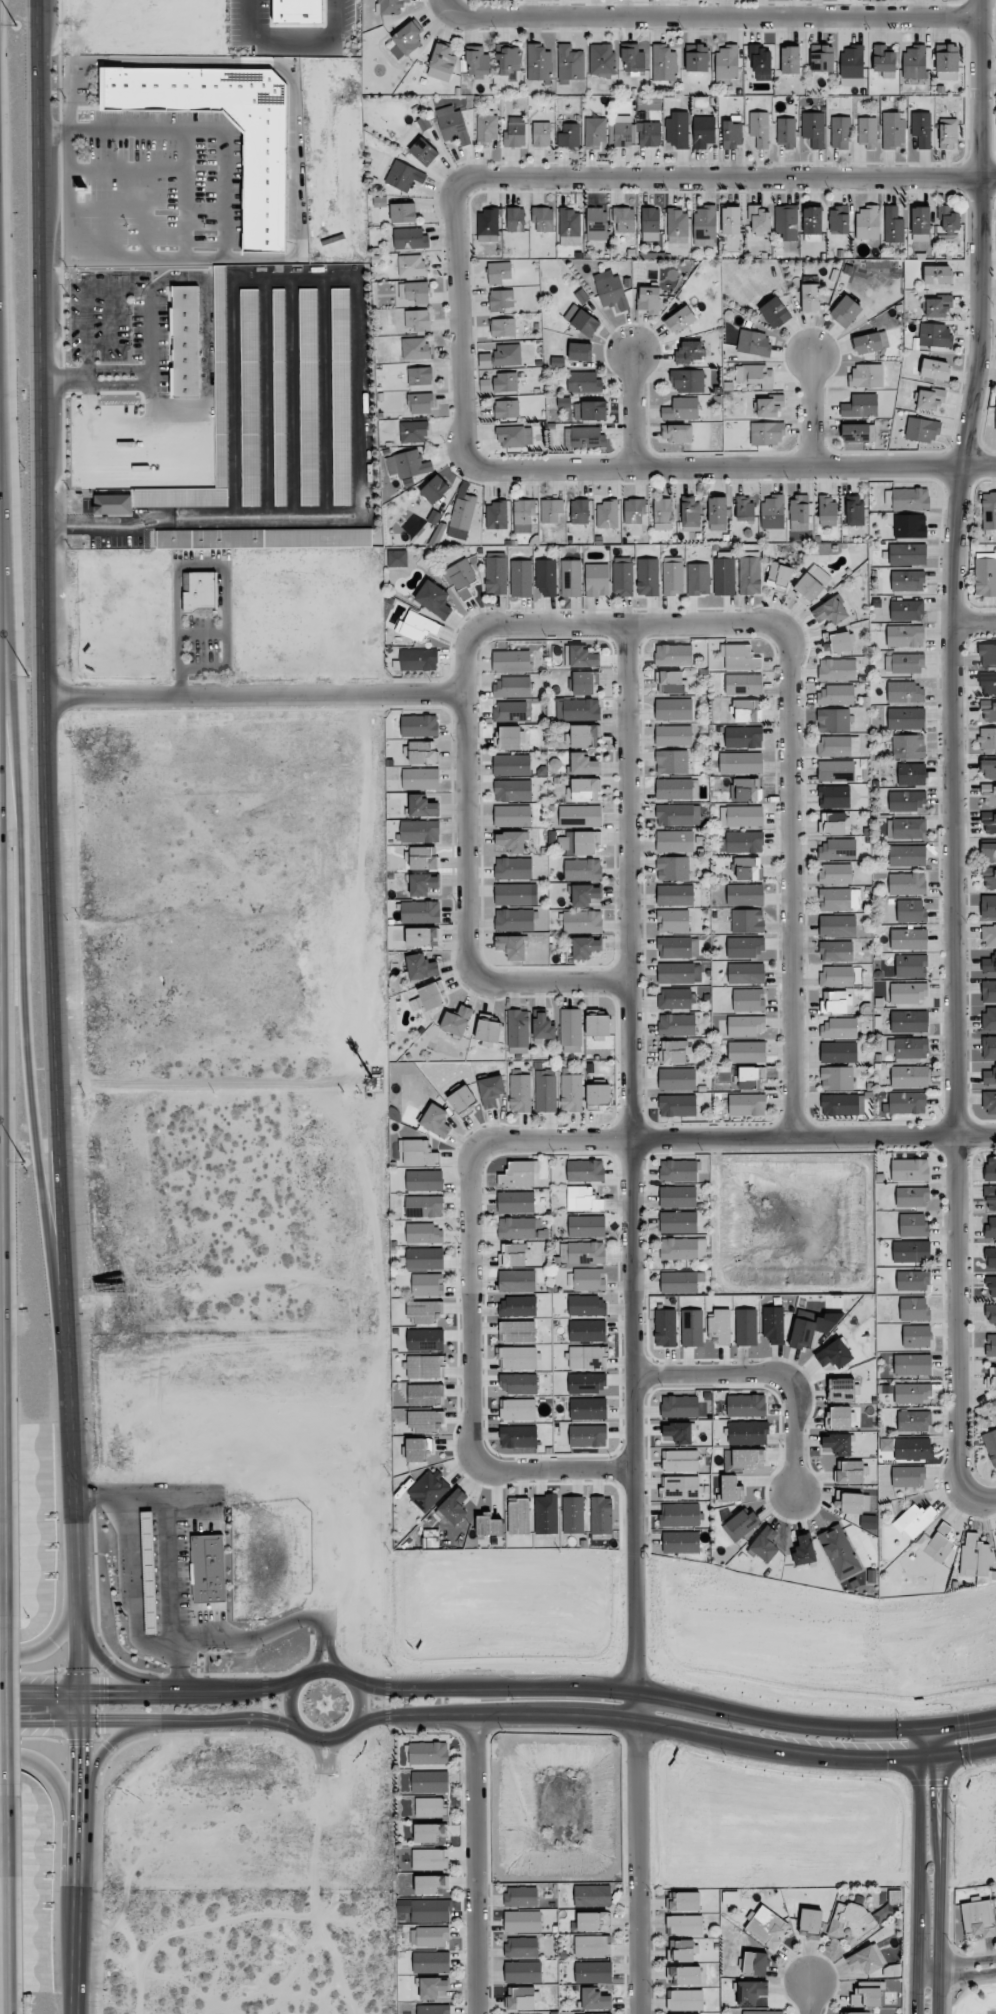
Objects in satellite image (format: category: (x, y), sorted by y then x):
road: (447, 4)
building: (390, 6)
road: (715, 16)
building: (408, 37)
building: (947, 57)
building: (443, 58)
building: (632, 58)
building: (696, 58)
building: (821, 58)
building: (601, 59)
building: (508, 60)
building: (790, 60)
building: (884, 60)
building: (914, 61)
building: (477, 62)
building: (538, 62)
building: (761, 62)
building: (569, 63)
building: (663, 63)
building: (726, 64)
building: (852, 65)
road: (285, 69)
building: (946, 75)
road: (989, 83)
building: (452, 125)
building: (487, 126)
building: (760, 129)
building: (814, 129)
building: (921, 129)
road: (198, 130)
building: (677, 130)
building: (893, 130)
building: (624, 131)
building: (515, 132)
building: (594, 132)
building: (703, 132)
building: (786, 132)
building: (840, 132)
building: (868, 132)
building: (731, 133)
building: (948, 133)
building: (541, 134)
building: (649, 134)
building: (569, 136)
building: (423, 152)
road: (129, 170)
building: (404, 176)
road: (726, 176)
building: (264, 181)
road: (187, 195)
road: (110, 211)
building: (403, 212)
road: (148, 215)
building: (515, 219)
building: (543, 219)
building: (623, 219)
building: (650, 219)
building: (839, 219)
building: (948, 219)
building: (759, 220)
building: (920, 220)
building: (731, 221)
building: (786, 222)
building: (867, 222)
building: (596, 223)
building: (488, 225)
building: (569, 225)
building: (705, 225)
building: (893, 225)
building: (677, 226)
road: (109, 235)
building: (410, 238)
building: (411, 265)
building: (499, 272)
road: (354, 274)
building: (937, 275)
building: (610, 290)
building: (415, 292)
building: (810, 297)
building: (649, 299)
building: (501, 300)
road: (87, 301)
building: (938, 306)
building: (845, 311)
building: (775, 312)
building: (418, 320)
building: (581, 320)
building: (680, 320)
building: (503, 327)
road: (122, 333)
building: (935, 335)
building: (185, 341)
building: (870, 342)
building: (753, 343)
building: (415, 348)
building: (580, 351)
building: (690, 351)
building: (502, 356)
building: (935, 369)
road: (151, 375)
building: (754, 375)
building: (220, 376)
building: (420, 376)
building: (865, 376)
road: (65, 378)
building: (687, 380)
building: (505, 382)
building: (583, 382)
road: (324, 394)
road: (266, 395)
road: (293, 395)
building: (341, 396)
building: (250, 397)
building: (279, 397)
building: (309, 397)
building: (930, 399)
building: (421, 403)
road: (207, 405)
building: (769, 405)
building: (860, 406)
building: (506, 409)
building: (681, 409)
road: (632, 411)
road: (812, 415)
building: (922, 430)
building: (413, 432)
building: (858, 432)
building: (676, 433)
building: (767, 433)
building: (514, 436)
building: (584, 437)
building: (407, 464)
road: (594, 469)
building: (435, 489)
building: (910, 498)
building: (160, 499)
building: (744, 508)
building: (551, 510)
building: (799, 510)
building: (827, 510)
building: (854, 510)
building: (580, 511)
building: (635, 511)
building: (989, 511)
building: (773, 512)
building: (607, 514)
building: (662, 514)
building: (690, 514)
building: (717, 514)
building: (461, 515)
building: (496, 515)
building: (523, 516)
road: (204, 518)
road: (109, 524)
building: (910, 526)
building: (264, 538)
building: (907, 554)
building: (397, 558)
building: (496, 573)
building: (749, 573)
building: (460, 574)
building: (622, 576)
building: (672, 576)
building: (724, 576)
building: (778, 576)
building: (647, 577)
building: (985, 577)
building: (521, 578)
building: (546, 578)
building: (571, 578)
building: (698, 579)
building: (597, 580)
building: (907, 581)
building: (812, 582)
building: (200, 591)
building: (434, 599)
building: (906, 610)
building: (829, 611)
building: (417, 627)
road: (978, 627)
building: (905, 636)
building: (838, 642)
building: (673, 654)
building: (987, 655)
building: (580, 657)
building: (739, 657)
building: (418, 659)
building: (511, 661)
building: (904, 663)
building: (837, 669)
building: (584, 682)
building: (671, 682)
building: (743, 684)
building: (987, 684)
building: (512, 687)
building: (904, 692)
building: (836, 695)
road: (255, 697)
building: (577, 708)
building: (674, 709)
building: (510, 710)
building: (744, 710)
building: (987, 711)
road: (45, 714)
building: (906, 718)
building: (833, 720)
road: (792, 723)
building: (419, 725)
building: (673, 735)
building: (743, 737)
building: (509, 738)
building: (987, 738)
building: (839, 746)
building: (908, 746)
building: (422, 752)
road: (960, 760)
building: (672, 761)
building: (740, 763)
building: (583, 764)
building: (512, 765)
building: (989, 769)
building: (836, 770)
building: (911, 774)
building: (420, 778)
building: (585, 789)
building: (677, 789)
building: (745, 789)
building: (513, 790)
building: (989, 794)
building: (833, 797)
building: (907, 801)
building: (421, 806)
building: (512, 815)
building: (678, 815)
building: (580, 816)
building: (741, 816)
building: (832, 823)
building: (989, 823)
building: (908, 828)
building: (420, 831)
building: (512, 841)
building: (675, 841)
building: (579, 842)
building: (744, 842)
building: (837, 849)
building: (989, 851)
building: (907, 855)
building: (513, 868)
building: (672, 868)
building: (583, 869)
building: (835, 873)
building: (989, 878)
road: (466, 881)
building: (907, 883)
building: (424, 884)
building: (515, 894)
building: (745, 894)
building: (586, 895)
building: (675, 895)
building: (840, 899)
building: (988, 906)
building: (420, 910)
building: (910, 911)
building: (514, 920)
building: (582, 921)
building: (673, 921)
building: (747, 921)
building: (837, 925)
building: (989, 935)
building: (422, 937)
building: (908, 939)
building: (511, 947)
building: (585, 947)
building: (677, 947)
building: (745, 947)
building: (836, 951)
road: (627, 956)
building: (989, 964)
building: (911, 965)
building: (421, 966)
building: (676, 973)
building: (746, 973)
building: (836, 976)
building: (988, 991)
road: (27, 993)
building: (907, 993)
building: (428, 997)
building: (675, 998)
building: (749, 1000)
building: (835, 1001)
building: (988, 1019)
building: (457, 1021)
building: (909, 1021)
building: (676, 1024)
building: (542, 1026)
building: (598, 1026)
building: (745, 1026)
building: (570, 1027)
building: (518, 1028)
building: (838, 1028)
building: (488, 1031)
building: (989, 1047)
building: (908, 1048)
building: (746, 1051)
building: (673, 1052)
building: (838, 1052)
building: (909, 1076)
building: (989, 1076)
building: (677, 1078)
building: (751, 1078)
building: (837, 1078)
building: (545, 1090)
building: (491, 1091)
building: (571, 1091)
building: (520, 1093)
building: (598, 1094)
building: (462, 1099)
building: (990, 1102)
building: (905, 1103)
building: (677, 1105)
building: (746, 1105)
building: (843, 1105)
building: (436, 1121)
road: (660, 1139)
building: (418, 1152)
building: (990, 1168)
building: (585, 1170)
building: (678, 1170)
building: (910, 1170)
building: (519, 1174)
building: (424, 1180)
building: (677, 1196)
building: (911, 1197)
building: (990, 1198)
building: (583, 1199)
building: (516, 1202)
building: (424, 1206)
building: (678, 1222)
building: (913, 1225)
building: (586, 1226)
building: (520, 1228)
building: (991, 1228)
building: (424, 1233)
building: (683, 1249)
building: (911, 1251)
building: (581, 1253)
building: (513, 1255)
building: (424, 1258)
building: (990, 1258)
building: (589, 1279)
building: (912, 1280)
building: (517, 1281)
building: (680, 1282)
building: (427, 1284)
building: (992, 1286)
building: (517, 1306)
building: (914, 1309)
building: (425, 1311)
building: (991, 1313)
road: (3, 1318)
building: (773, 1324)
building: (720, 1326)
building: (665, 1327)
building: (746, 1327)
building: (691, 1328)
building: (518, 1331)
building: (587, 1331)
building: (802, 1334)
building: (916, 1336)
building: (425, 1339)
building: (990, 1345)
building: (586, 1357)
building: (518, 1358)
building: (912, 1364)
building: (426, 1367)
road: (769, 1371)
building: (991, 1377)
road: (632, 1379)
building: (519, 1383)
building: (587, 1383)
building: (841, 1390)
building: (912, 1393)
building: (425, 1394)
building: (746, 1405)
building: (680, 1406)
building: (518, 1409)
building: (588, 1409)
building: (838, 1418)
building: (426, 1420)
building: (914, 1421)
building: (747, 1432)
building: (677, 1433)
building: (588, 1435)
building: (518, 1436)
building: (837, 1444)
building: (990, 1445)
building: (908, 1448)
building: (417, 1449)
building: (749, 1458)
building: (680, 1461)
road: (582, 1468)
building: (851, 1472)
building: (908, 1476)
building: (680, 1488)
building: (429, 1489)
building: (731, 1489)
building: (852, 1503)
building: (455, 1507)
building: (546, 1514)
building: (679, 1514)
building: (572, 1515)
building: (601, 1515)
building: (518, 1516)
building: (915, 1520)
building: (488, 1524)
building: (741, 1524)
building: (995, 1532)
building: (681, 1542)
building: (939, 1543)
building: (764, 1544)
building: (803, 1549)
building: (839, 1552)
road: (167, 1553)
building: (977, 1559)
building: (208, 1568)
building: (149, 1572)
road: (133, 1588)
road: (274, 1627)
road: (57, 1640)
road: (326, 1667)
road: (106, 1668)
traffic signals: (109, 1694)
road: (149, 1694)
road: (676, 1701)
road: (290, 1707)
road: (7, 1708)
road: (360, 1709)
road: (152, 1719)
traffic signals: (43, 1720)
road: (82, 1721)
road: (670, 1728)
road: (115, 1738)
road: (324, 1738)
traffic signals: (82, 1749)
building: (428, 1753)
road: (51, 1778)
building: (430, 1782)
building: (430, 1807)
building: (430, 1833)
road: (639, 1853)
building: (430, 1859)
road: (475, 1863)
road: (939, 1871)
road: (919, 1872)
building: (431, 1884)
building: (592, 1895)
building: (521, 1896)
building: (685, 1902)
road: (10, 1905)
building: (426, 1910)
building: (978, 1918)
building: (522, 1921)
building: (593, 1921)
building: (856, 1921)
building: (810, 1922)
building: (684, 1925)
building: (767, 1927)
building: (432, 1936)
building: (592, 1946)
building: (521, 1947)
building: (682, 1951)
building: (431, 1961)
building: (864, 1961)
road: (957, 1963)
building: (755, 1964)
building: (593, 1971)
building: (522, 1972)
building: (684, 1975)
road: (957, 1976)
road: (951, 1979)
road: (961, 1985)
building: (433, 1988)
building: (750, 1992)
building: (867, 1994)
road: (811, 1996)
park: (972, 1997)
building: (522, 1998)
building: (595, 1999)
building: (685, 2000)
building: (433, 2009)
building: (762, 2012)
park: (991, 2012)
building: (603, 2013)
building: (856, 2013)

